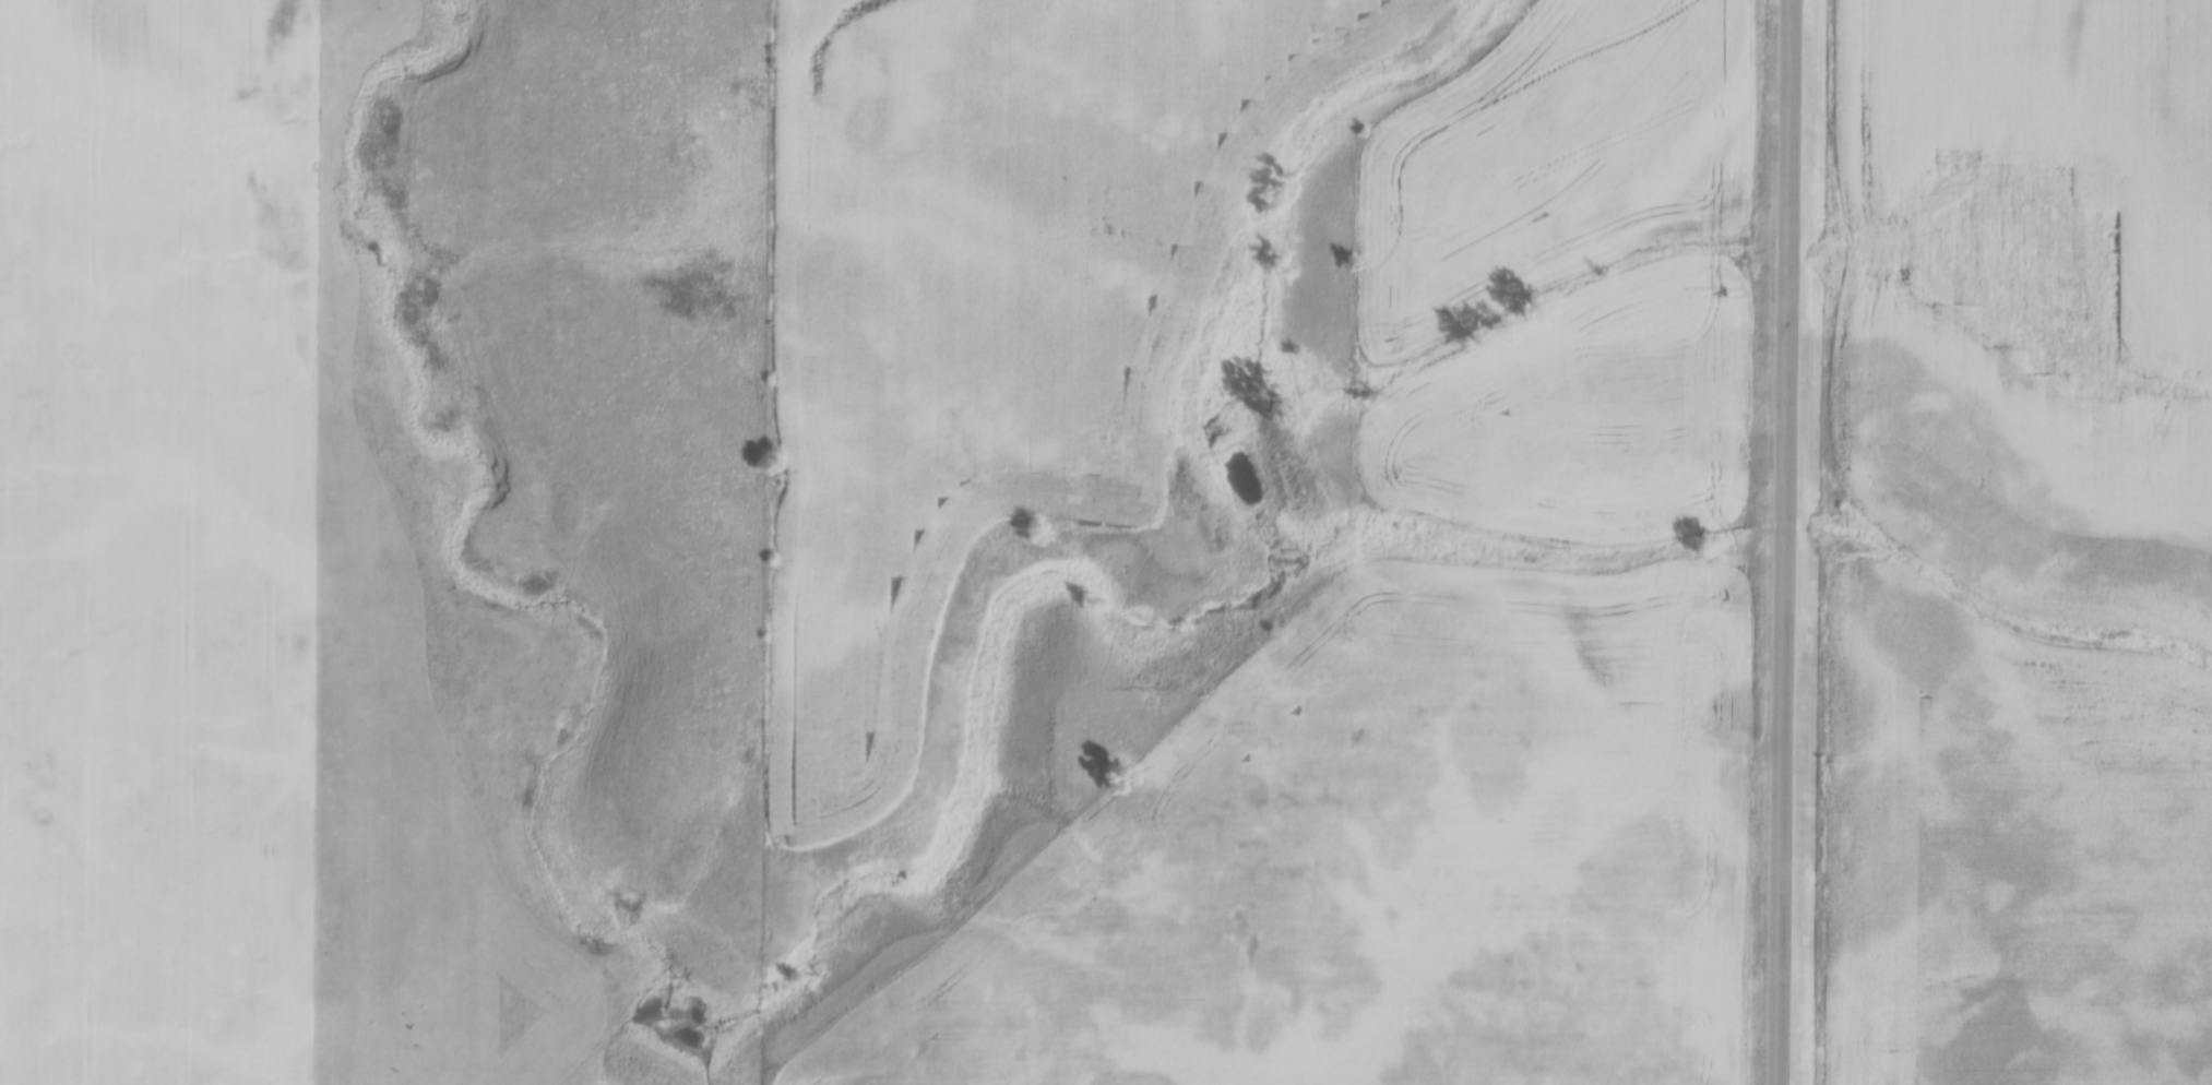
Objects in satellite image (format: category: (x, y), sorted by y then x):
road: (1791, 542)

